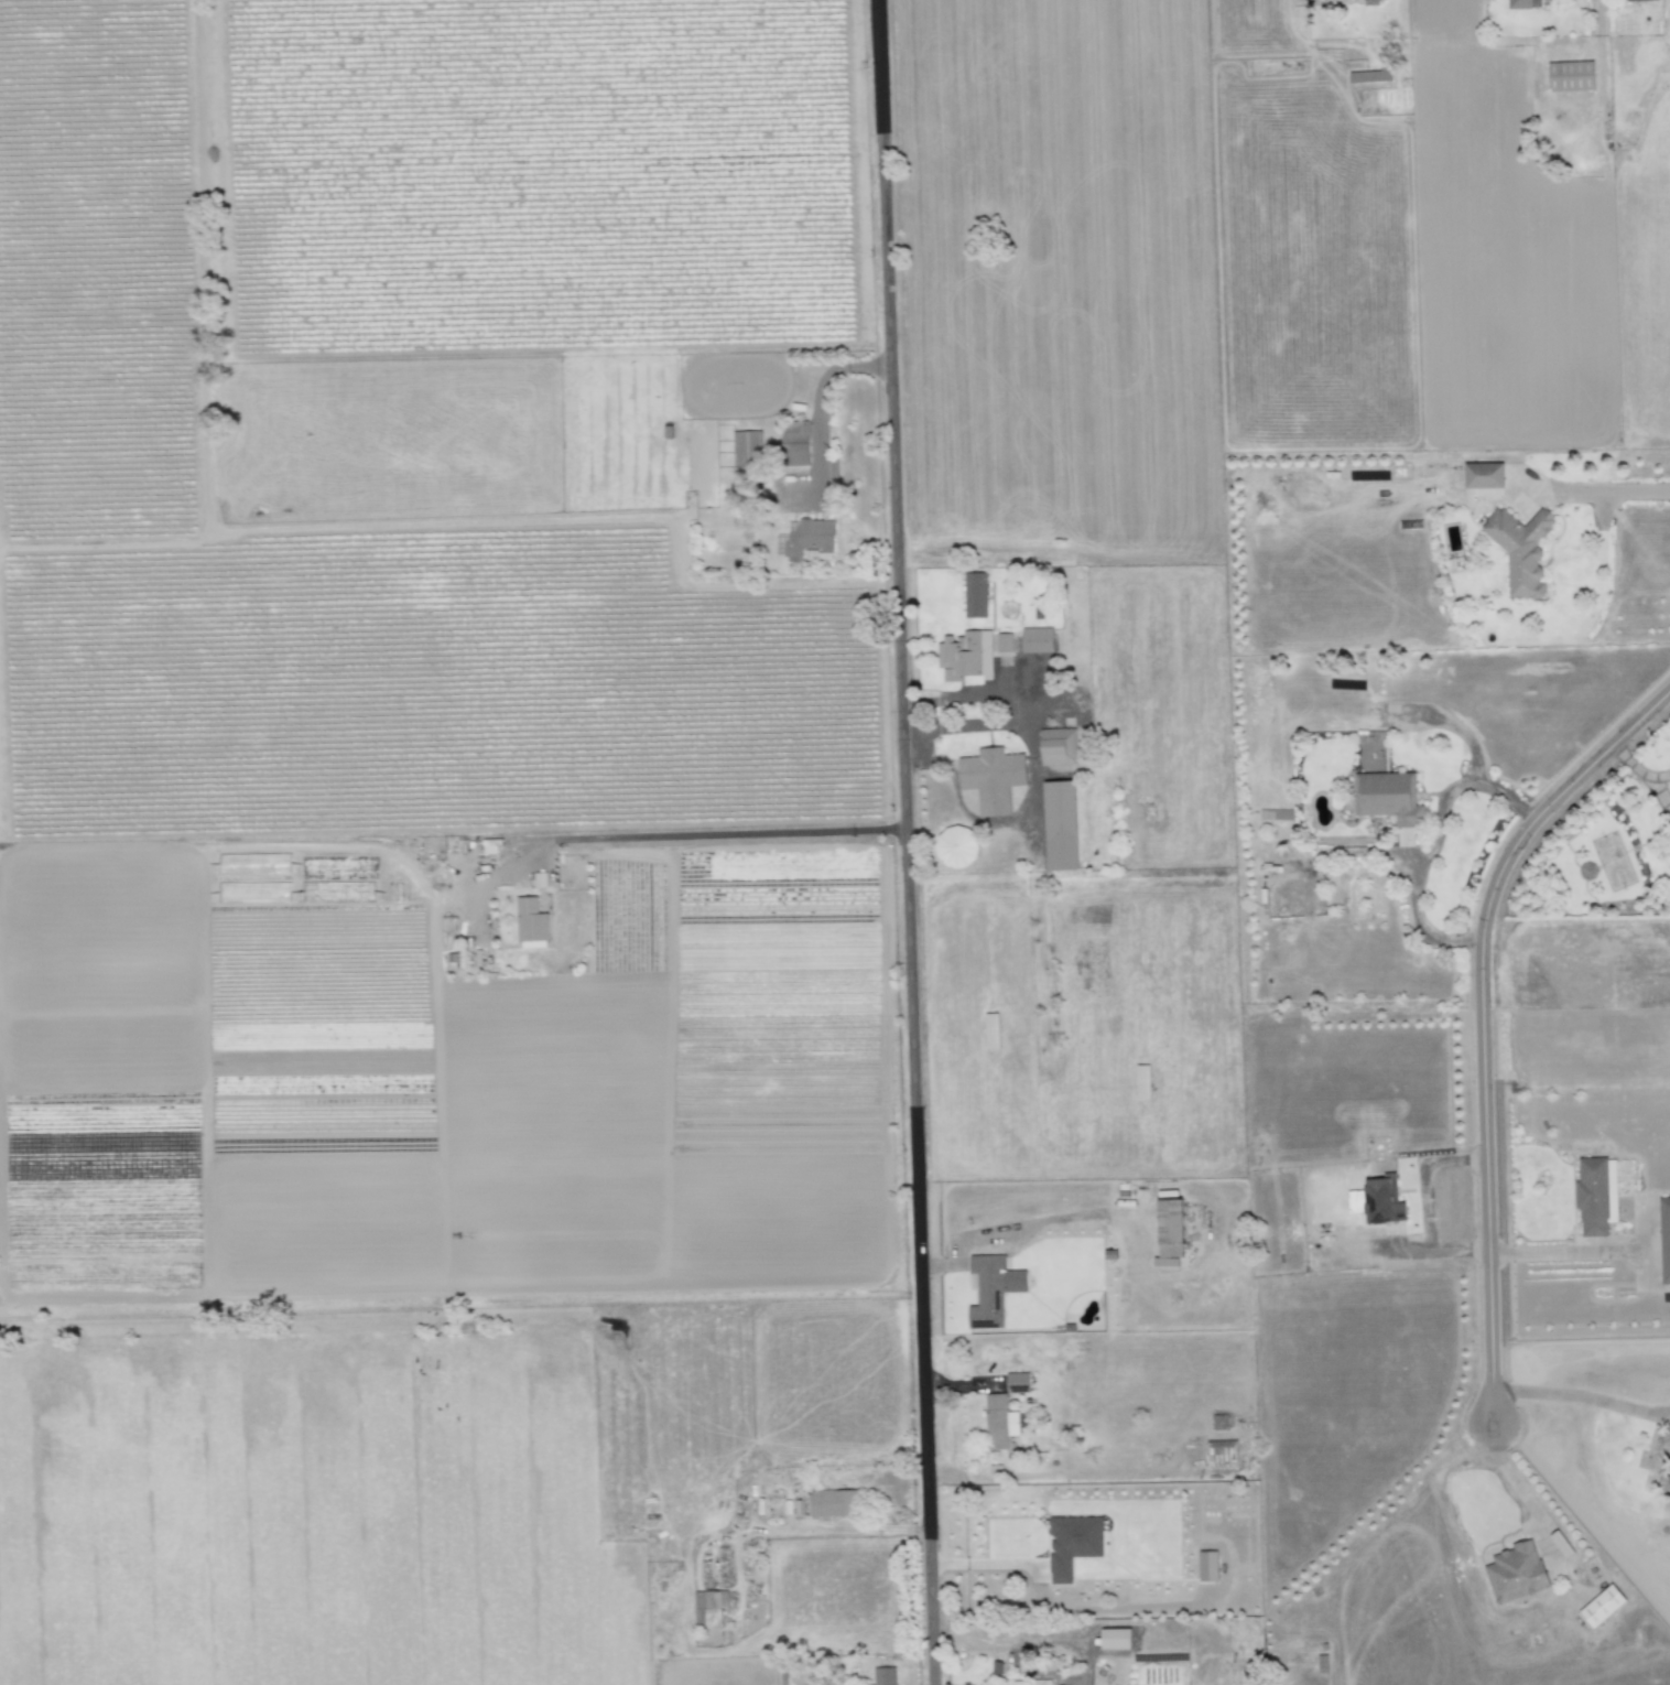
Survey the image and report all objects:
building: (1633, 0)
building: (1519, 4)
building: (1369, 76)
building: (1572, 76)
road: (815, 413)
building: (794, 443)
building: (746, 449)
building: (1485, 475)
road: (1579, 495)
building: (809, 538)
building: (1520, 550)
building: (975, 595)
building: (1037, 640)
building: (1004, 642)
building: (965, 655)
road: (1026, 708)
road: (1466, 741)
building: (1058, 746)
building: (993, 779)
building: (1388, 798)
building: (1061, 825)
road: (697, 835)
road: (903, 842)
road: (1430, 844)
building: (955, 847)
road: (1370, 853)
road: (1479, 1018)
road: (1423, 1181)
building: (1596, 1196)
building: (1379, 1200)
building: (1170, 1233)
building: (1664, 1239)
road: (1435, 1252)
road: (1552, 1254)
building: (993, 1289)
building: (1018, 1382)
road: (1563, 1393)
building: (999, 1422)
building: (1222, 1455)
building: (1666, 1463)
road: (1510, 1477)
building: (833, 1504)
building: (1072, 1544)
building: (1208, 1566)
building: (1516, 1571)
building: (1602, 1606)
building: (709, 1608)
building: (1116, 1639)
building: (885, 1676)
building: (1041, 1682)

